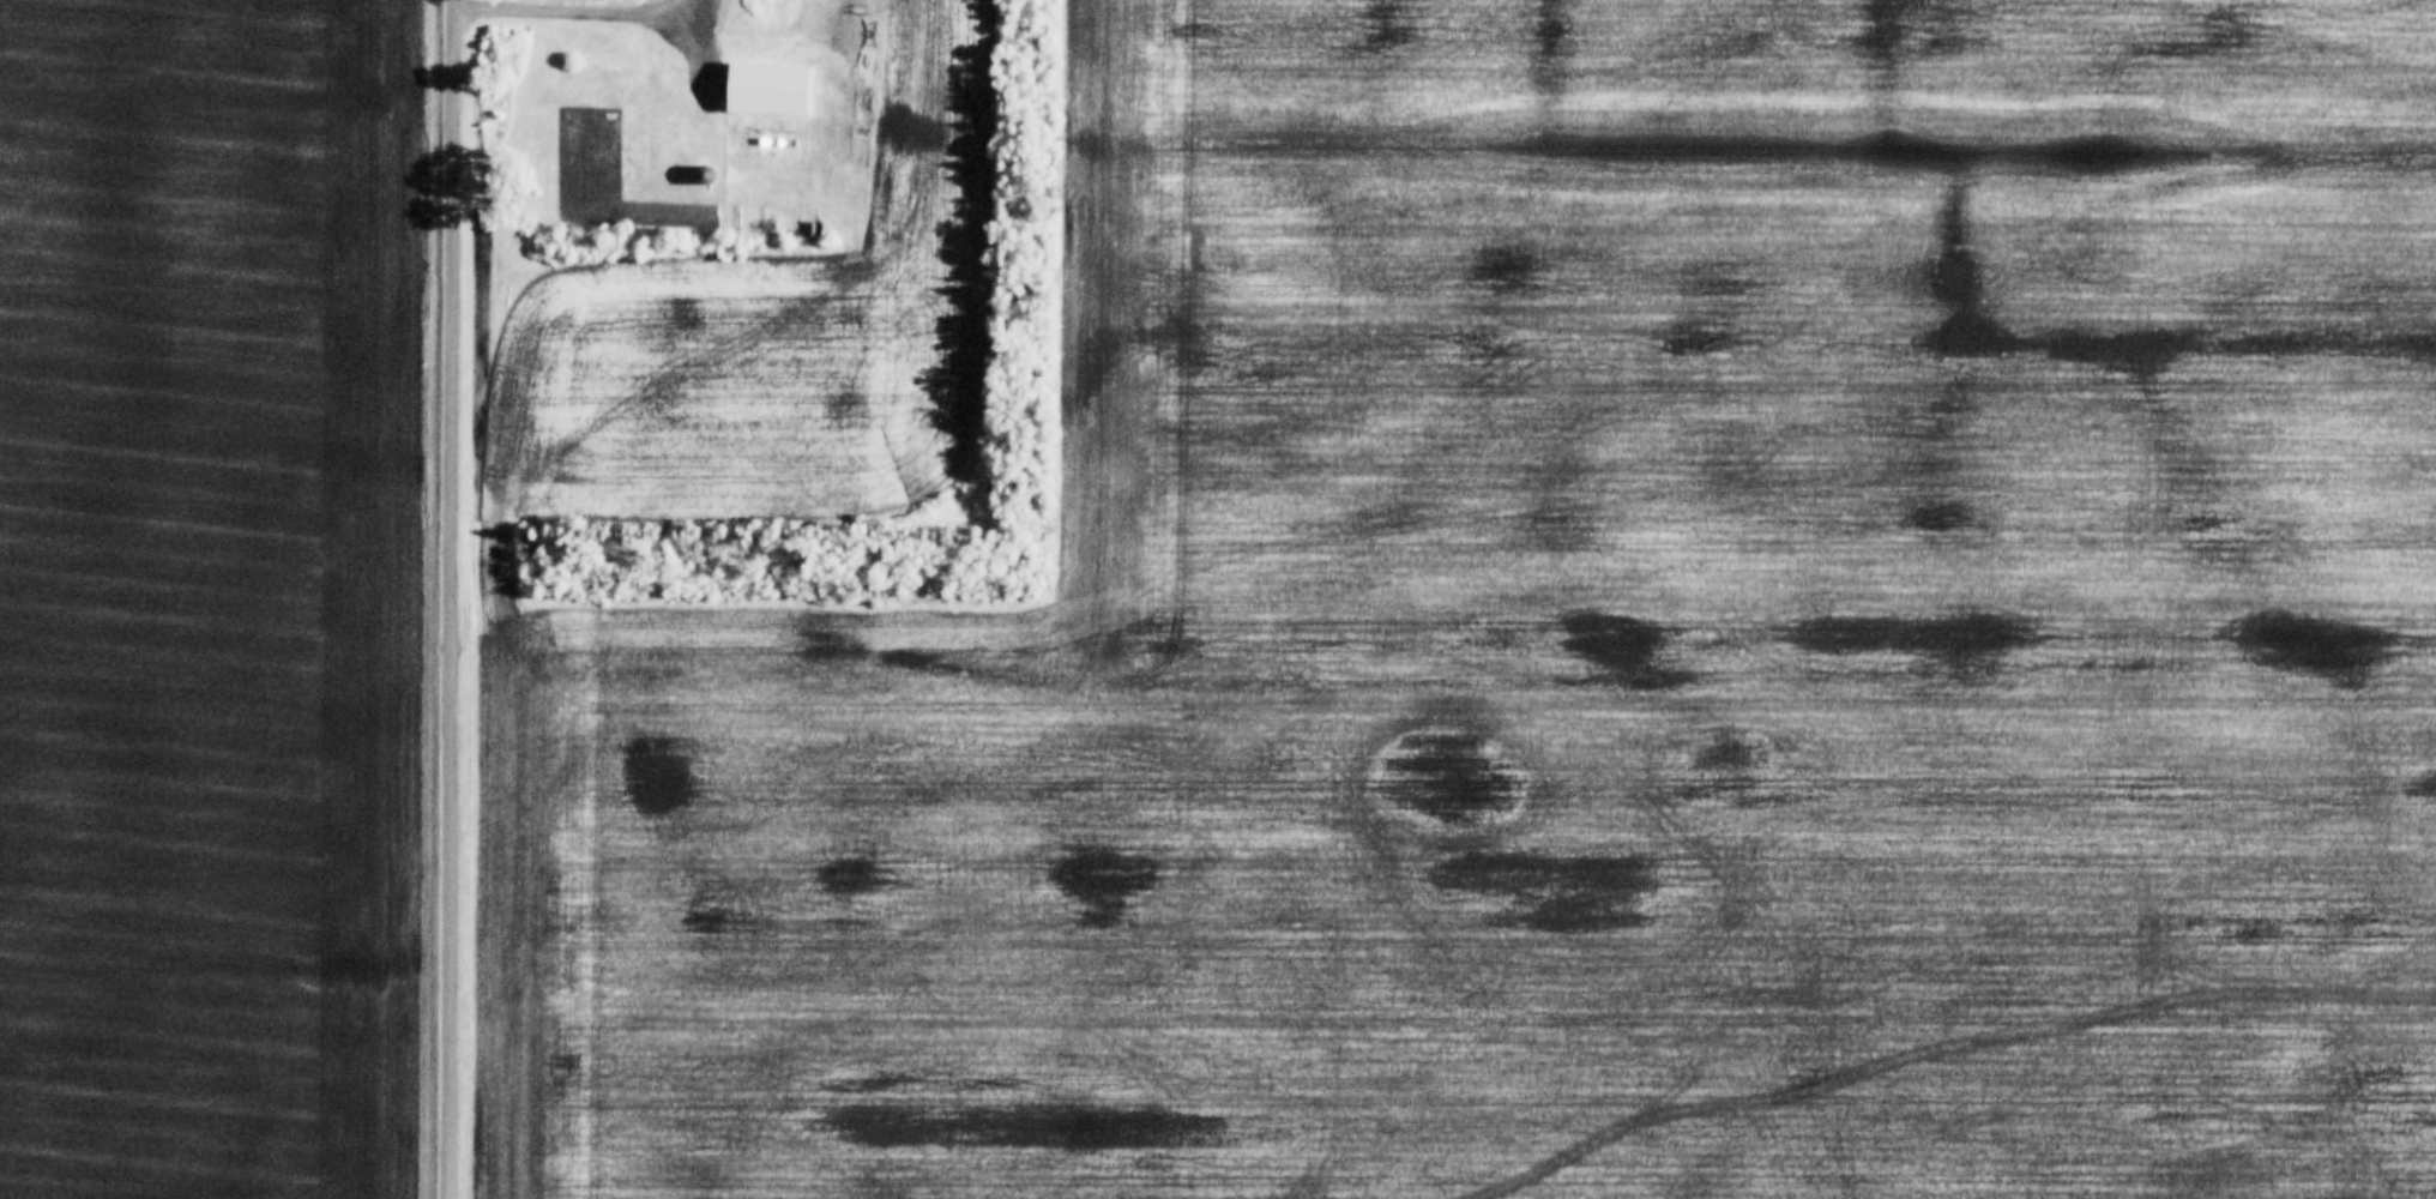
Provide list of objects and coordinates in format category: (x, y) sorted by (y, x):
road: (565, 7)
road: (448, 598)

